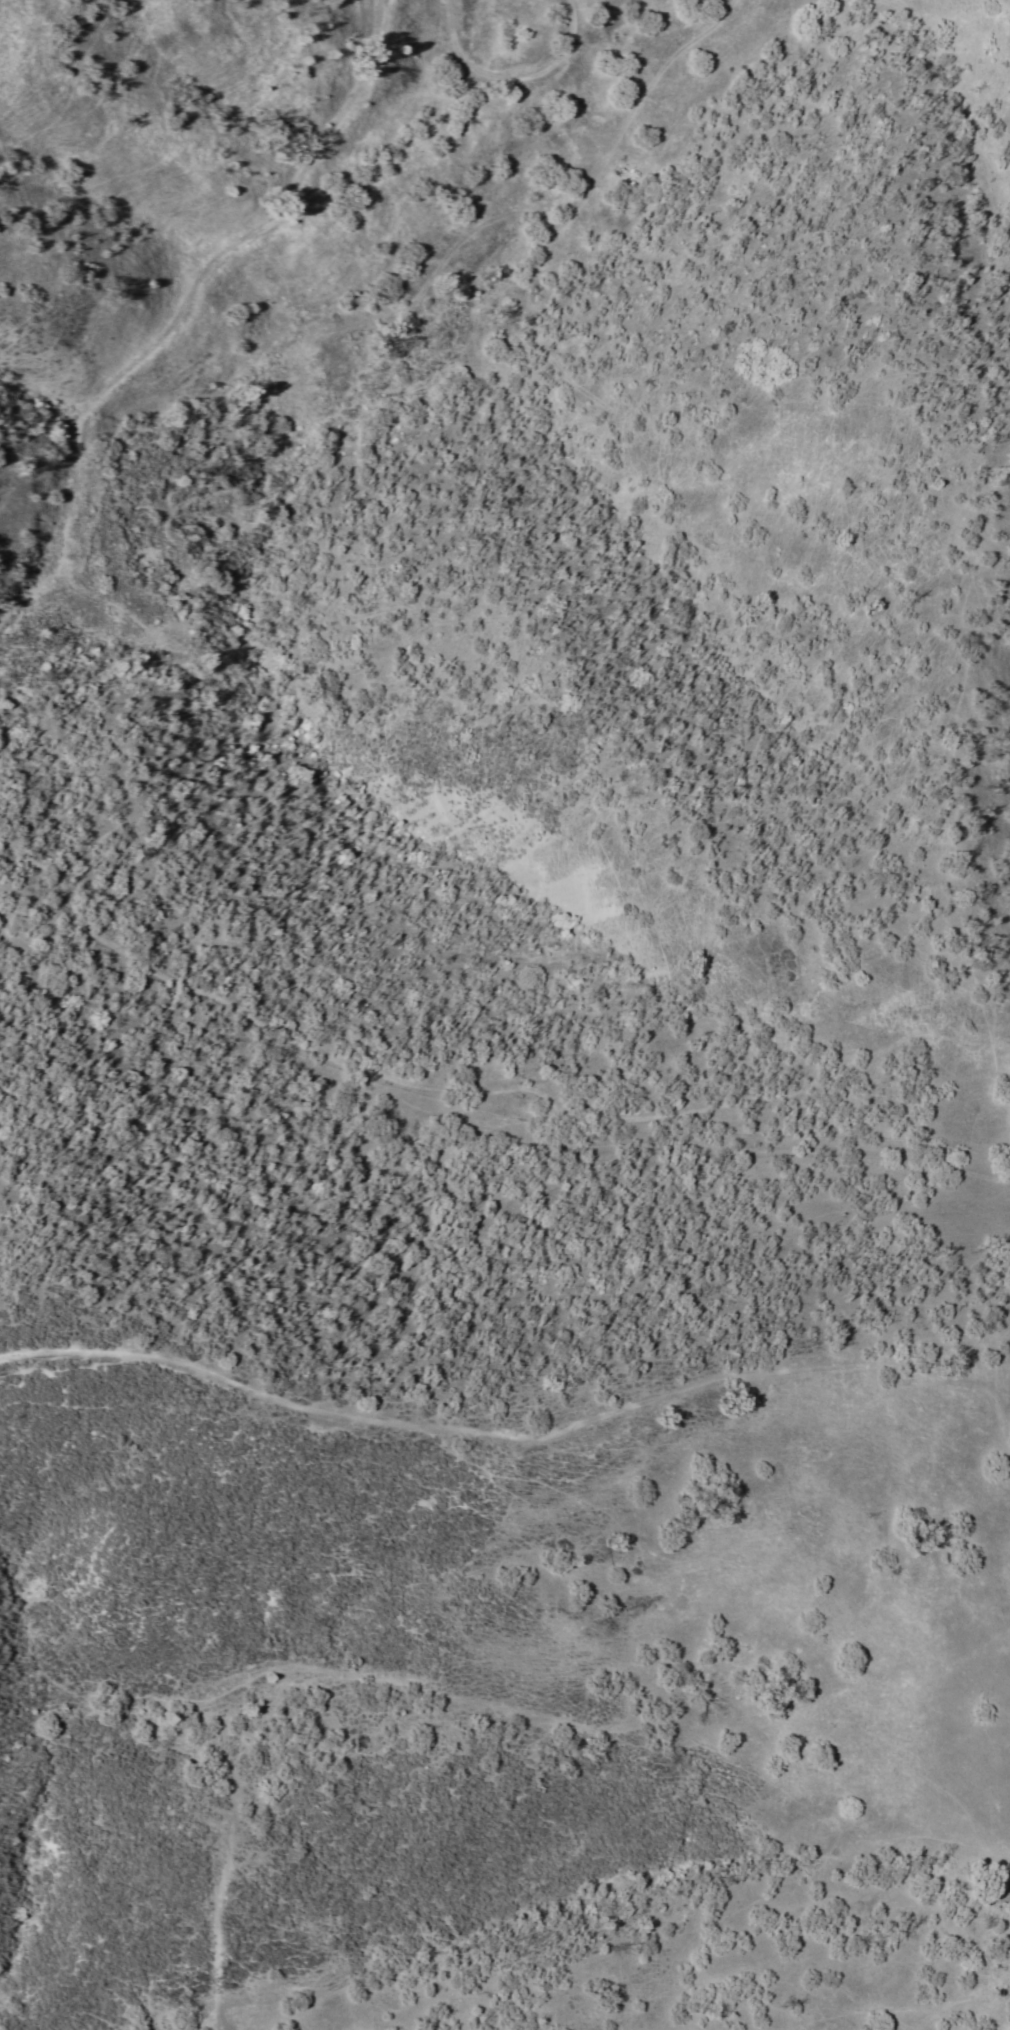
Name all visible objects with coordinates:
road: (503, 1469)

